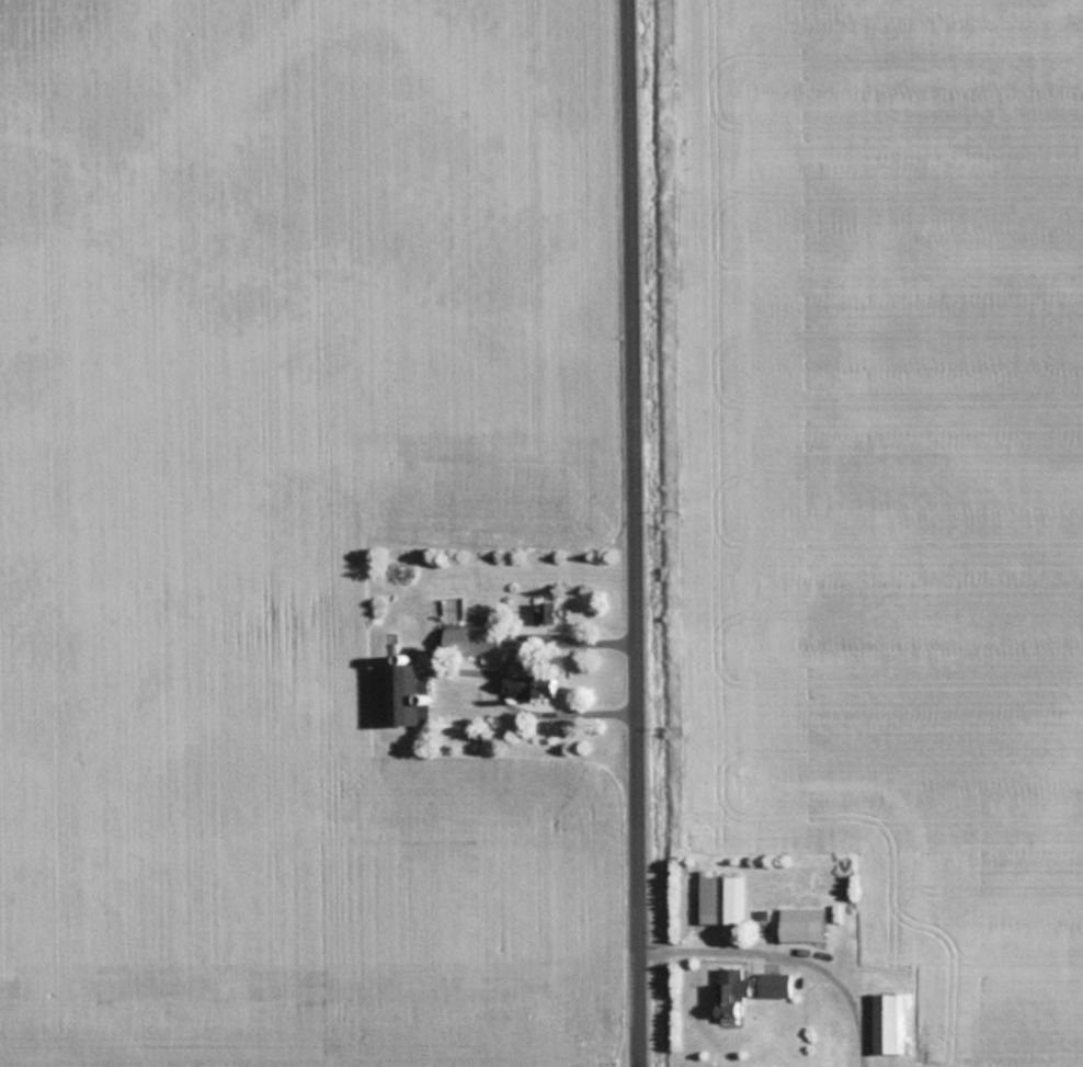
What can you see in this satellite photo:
road: (638, 533)
building: (546, 613)
building: (474, 642)
road: (502, 668)
building: (531, 685)
building: (406, 694)
building: (721, 899)
building: (800, 924)
building: (745, 989)
building: (888, 1022)

